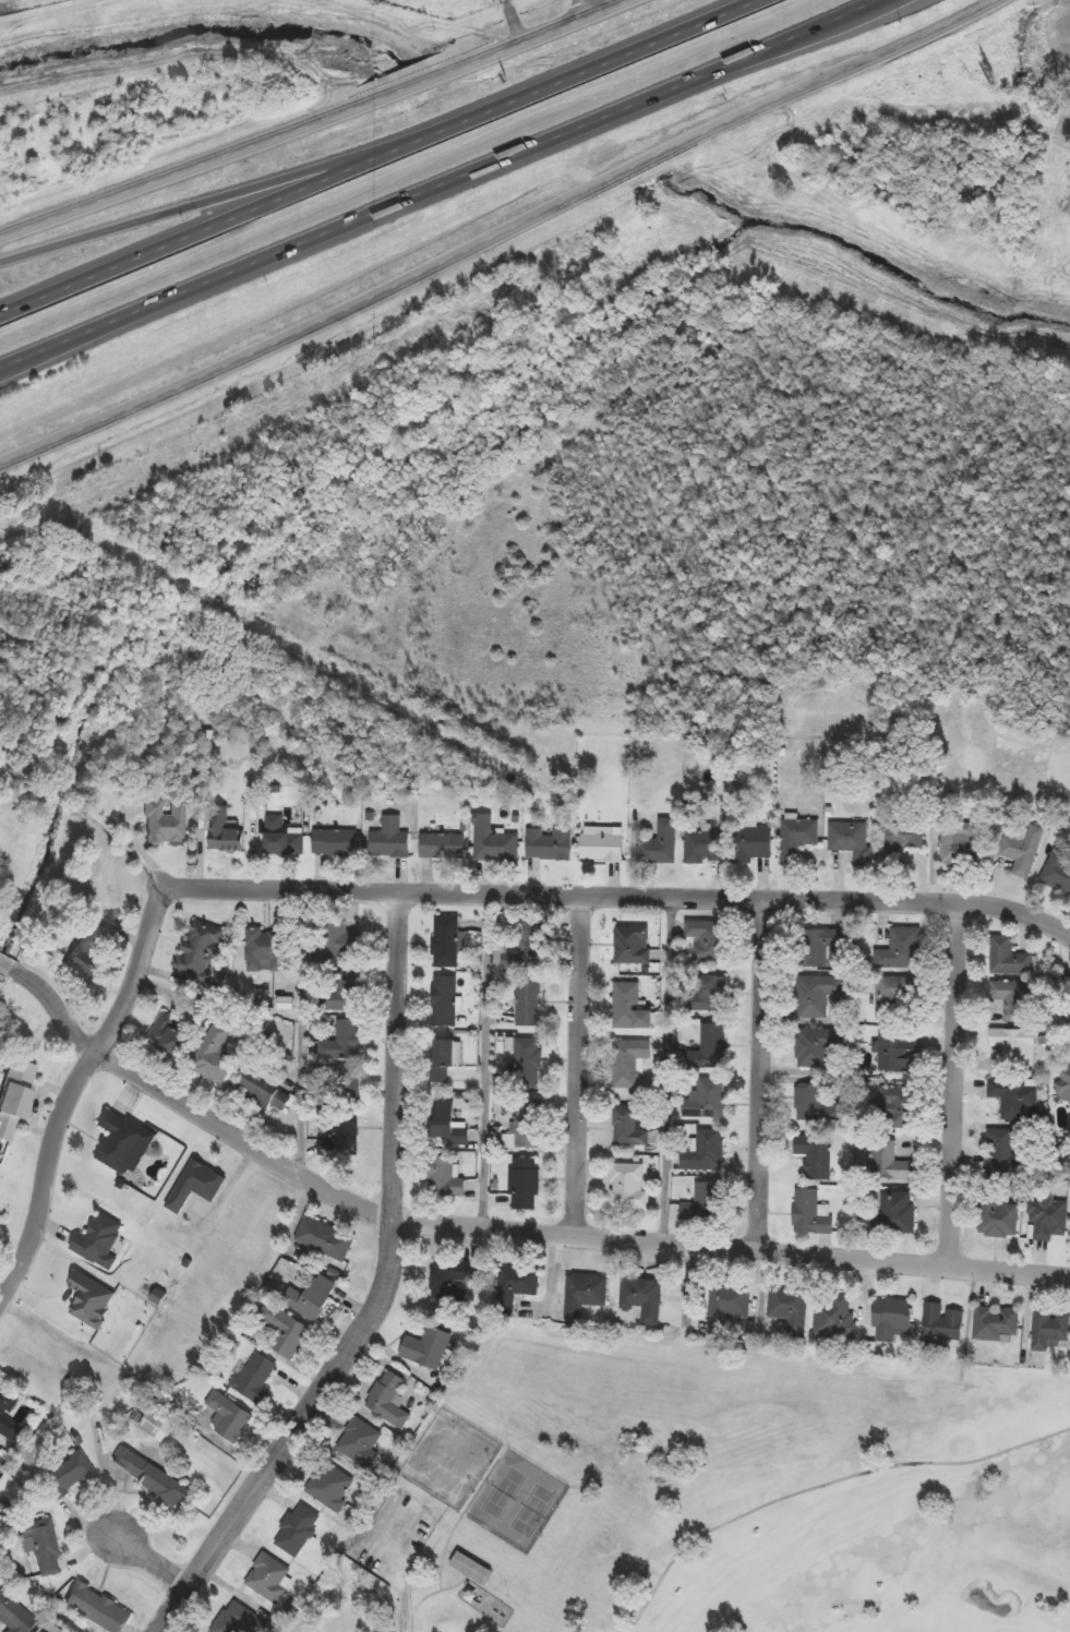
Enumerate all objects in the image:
road: (579, 9)
road: (314, 121)
road: (378, 158)
road: (444, 185)
road: (235, 194)
road: (500, 233)
building: (164, 821)
building: (224, 831)
building: (797, 838)
building: (281, 839)
building: (388, 839)
building: (903, 840)
building: (493, 841)
building: (851, 841)
building: (335, 843)
building: (754, 843)
building: (549, 844)
building: (960, 844)
building: (443, 845)
building: (601, 845)
building: (658, 847)
building: (707, 847)
building: (1022, 850)
building: (1059, 866)
road: (399, 889)
building: (532, 938)
building: (341, 941)
building: (445, 941)
building: (707, 941)
building: (633, 944)
building: (821, 946)
building: (86, 950)
building: (199, 950)
building: (267, 950)
building: (902, 950)
building: (1008, 958)
building: (1066, 983)
building: (339, 994)
building: (707, 994)
building: (817, 995)
building: (895, 997)
building: (444, 1001)
building: (1013, 1001)
building: (529, 1003)
building: (630, 1007)
building: (1069, 1028)
road: (302, 1029)
building: (168, 1036)
building: (342, 1042)
building: (817, 1046)
building: (1015, 1046)
building: (711, 1047)
building: (898, 1053)
building: (213, 1055)
road: (484, 1059)
building: (442, 1061)
building: (628, 1061)
building: (528, 1064)
road: (580, 1065)
road: (668, 1068)
road: (765, 1072)
road: (955, 1081)
building: (348, 1087)
building: (1065, 1088)
building: (14, 1097)
building: (263, 1097)
building: (1014, 1097)
building: (706, 1100)
building: (816, 1106)
building: (898, 1108)
building: (527, 1124)
building: (446, 1127)
building: (630, 1127)
building: (340, 1138)
building: (122, 1141)
building: (1002, 1151)
building: (706, 1152)
building: (815, 1155)
building: (891, 1163)
building: (443, 1178)
building: (525, 1185)
building: (195, 1186)
building: (627, 1187)
building: (701, 1203)
building: (810, 1214)
building: (893, 1214)
building: (998, 1219)
building: (1047, 1219)
road: (493, 1226)
building: (325, 1239)
building: (99, 1241)
building: (453, 1281)
building: (513, 1288)
road: (385, 1294)
building: (585, 1295)
building: (310, 1296)
building: (642, 1298)
building: (89, 1301)
building: (729, 1305)
building: (791, 1309)
building: (835, 1317)
building: (891, 1320)
building: (996, 1324)
building: (942, 1325)
building: (1050, 1330)
building: (284, 1332)
building: (428, 1348)
building: (254, 1378)
building: (388, 1401)
building: (5, 1408)
building: (229, 1417)
building: (155, 1427)
building: (360, 1442)
building: (65, 1474)
building: (151, 1477)
park: (803, 1481)
road: (823, 1485)
building: (332, 1486)
park: (515, 1502)
park: (486, 1515)
building: (298, 1531)
parking lot: (395, 1538)
building: (40, 1545)
road: (148, 1568)
building: (471, 1569)
building: (269, 1577)
building: (97, 1608)
building: (14, 1615)
building: (239, 1620)

